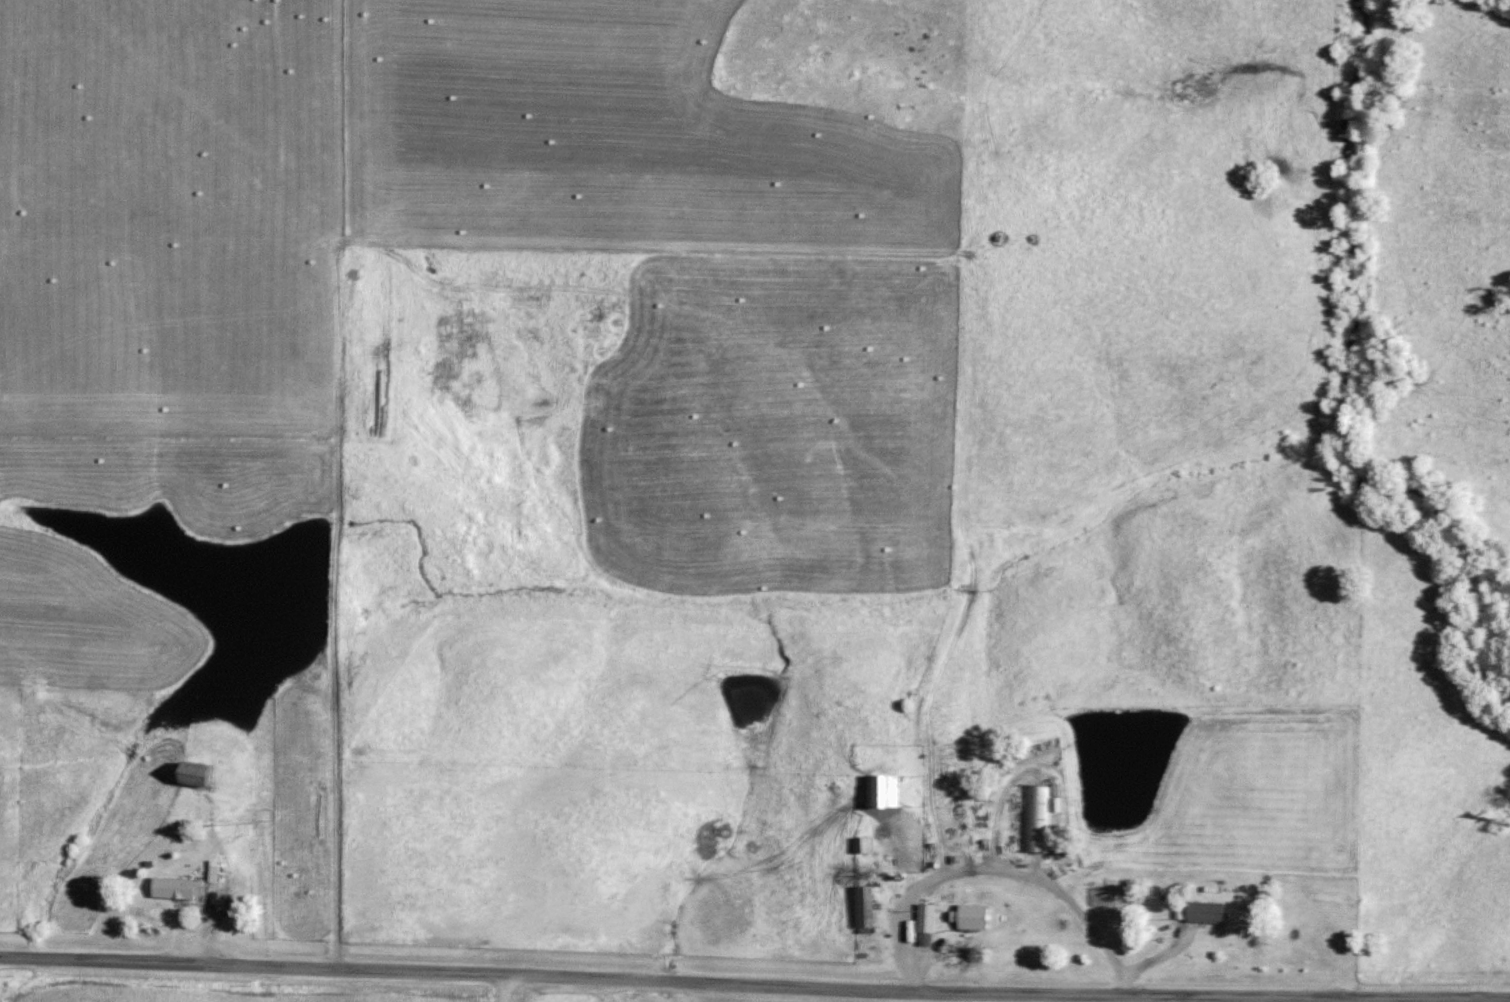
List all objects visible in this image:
building: (883, 790)
building: (1038, 817)
building: (863, 844)
building: (213, 871)
building: (863, 906)
building: (1200, 912)
road: (754, 983)
road: (500, 988)

